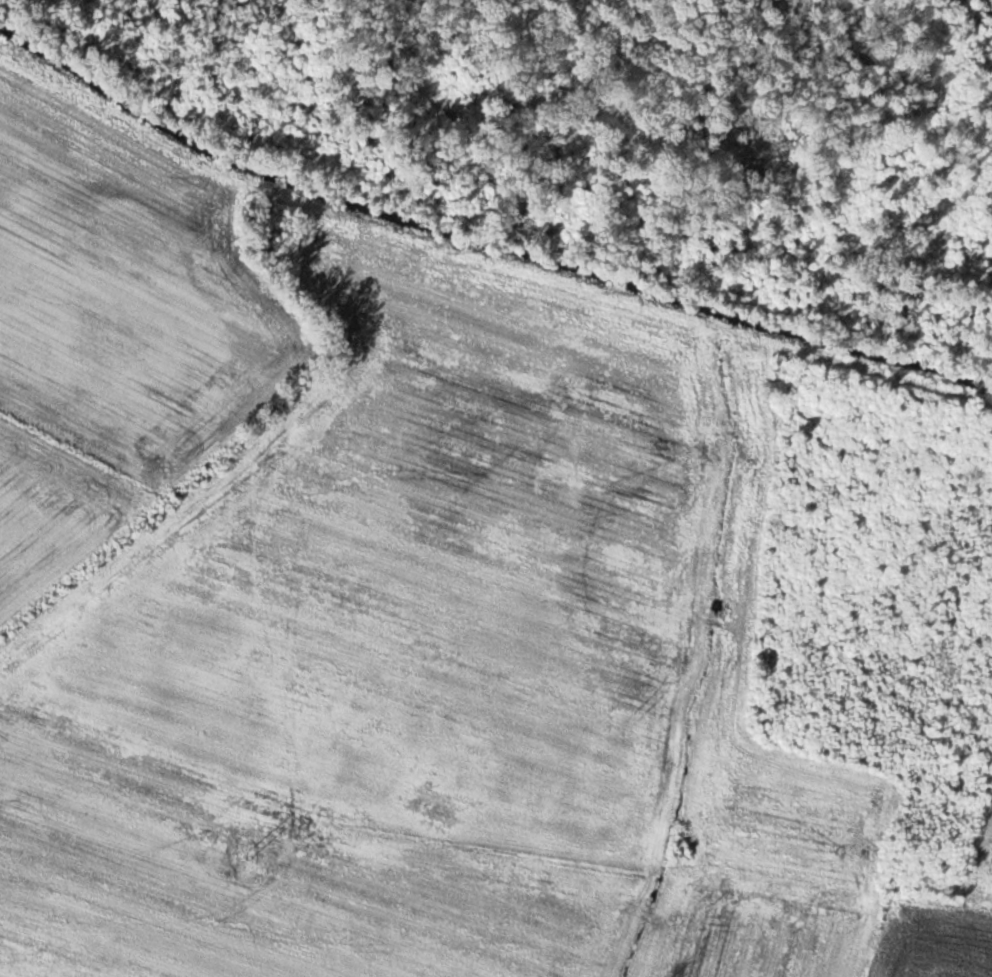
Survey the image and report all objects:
power tower: (254, 852)

